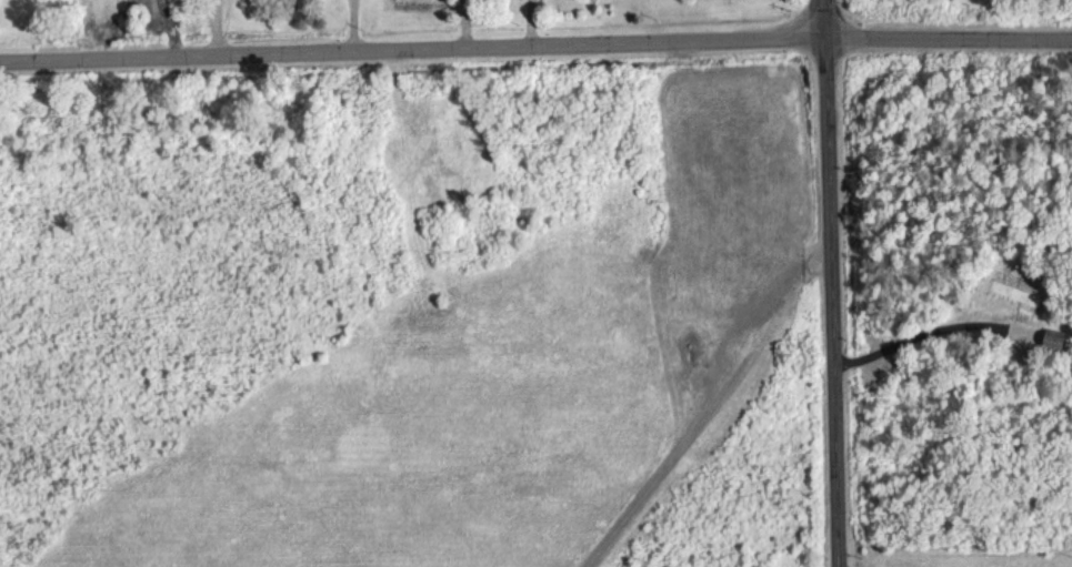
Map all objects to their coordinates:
road: (221, 27)
road: (535, 44)
road: (830, 283)
road: (924, 333)
building: (1053, 338)

